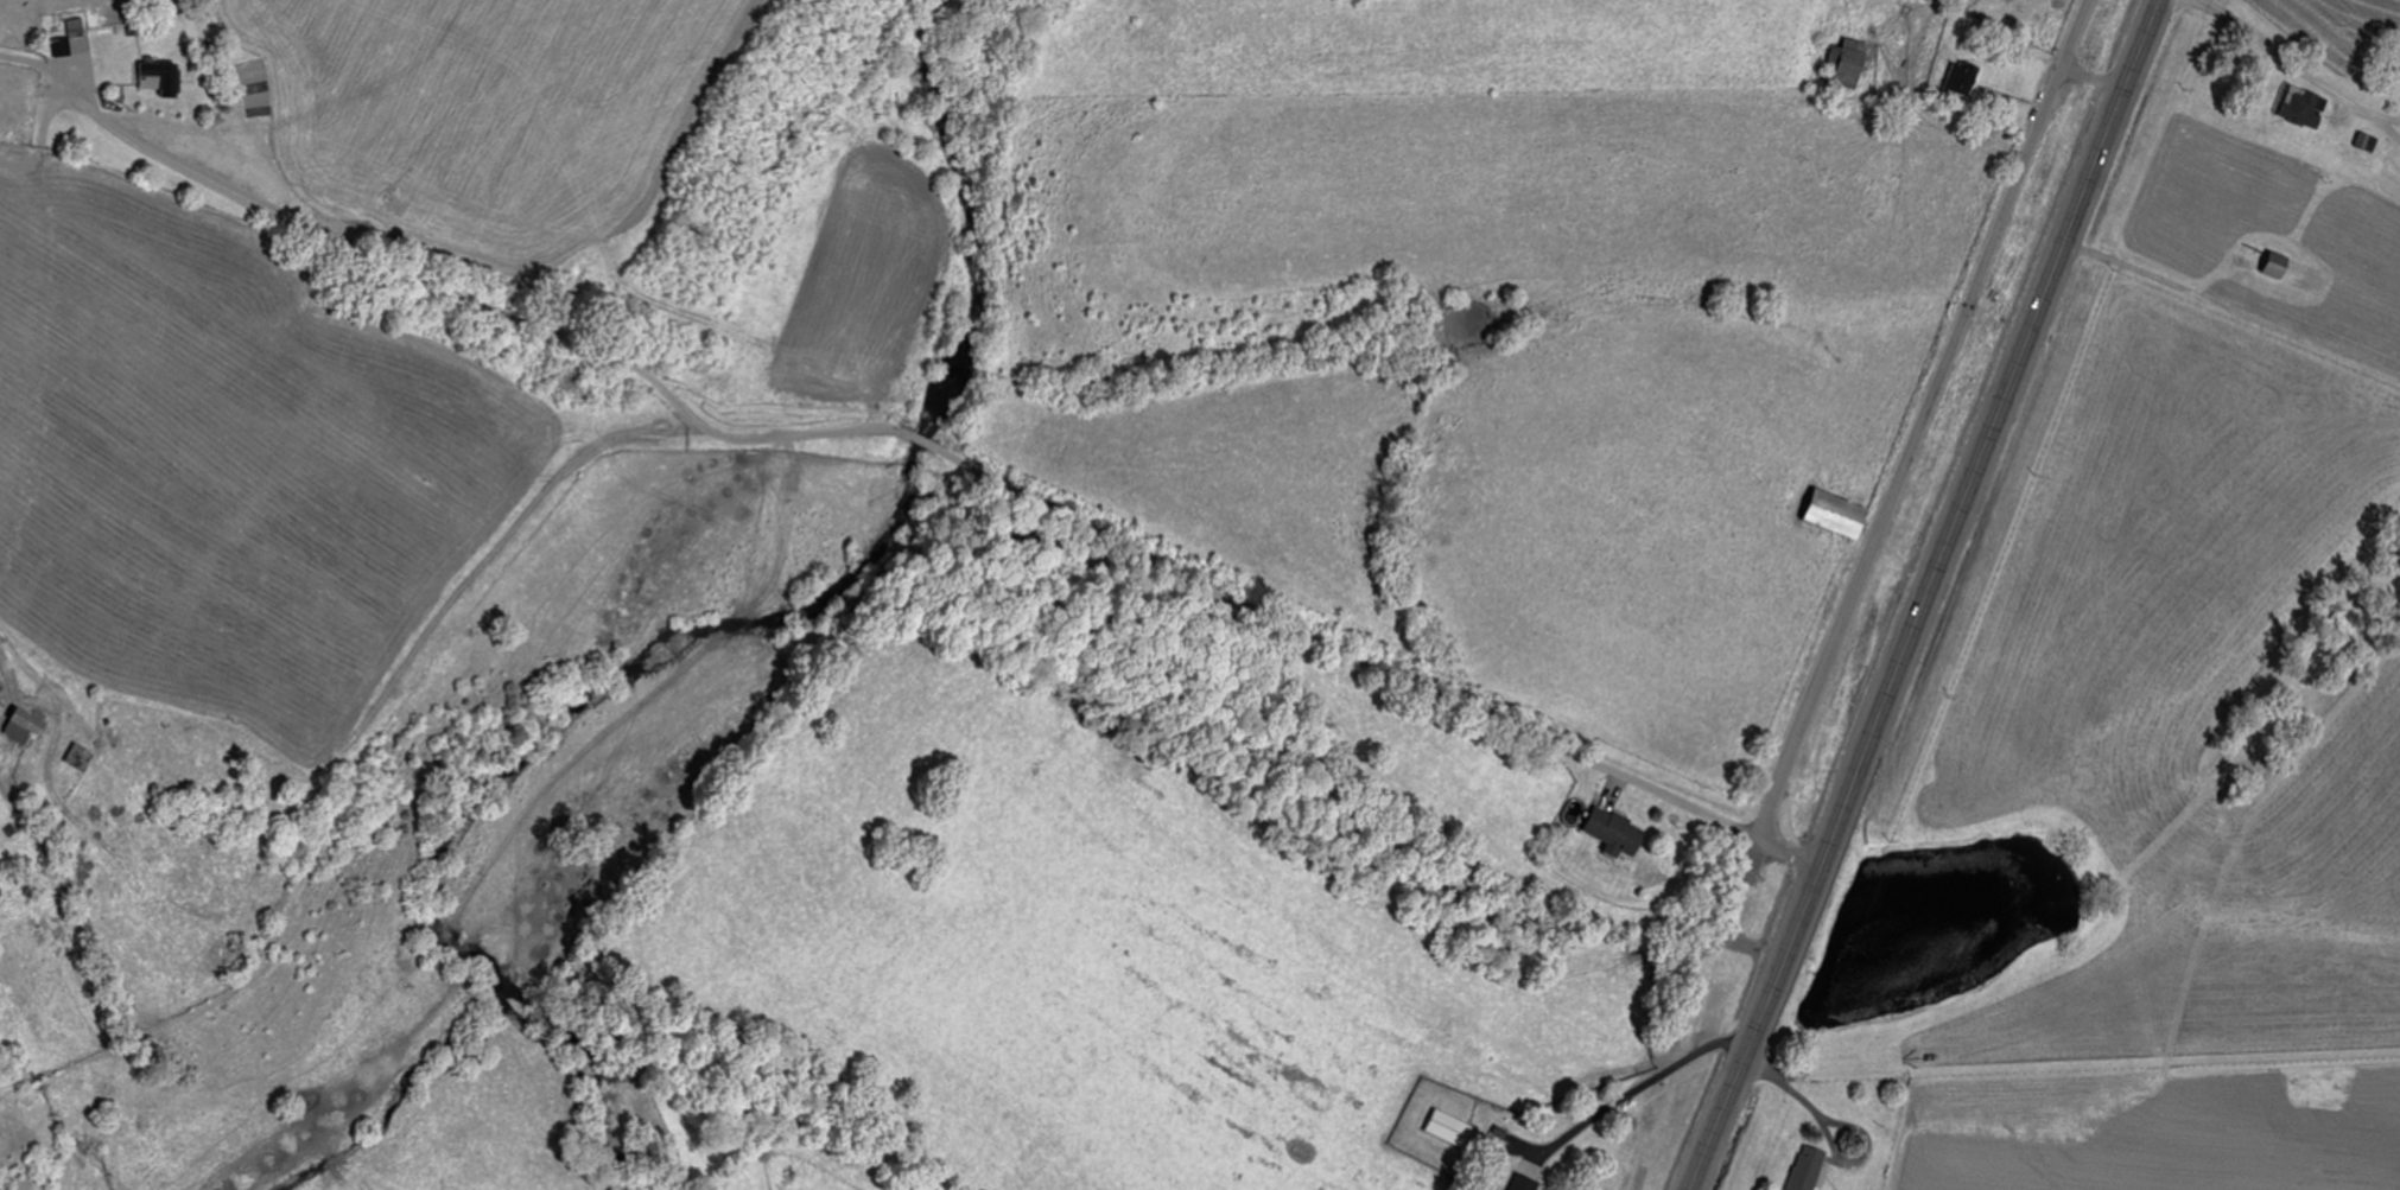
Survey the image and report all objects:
building: (63, 46)
building: (1849, 63)
road: (2096, 75)
building: (161, 76)
building: (1966, 78)
building: (2306, 108)
building: (2280, 265)
road: (2222, 349)
road: (1924, 418)
road: (967, 465)
building: (1840, 514)
road: (469, 562)
road: (1926, 594)
building: (26, 725)
building: (81, 757)
building: (1618, 833)
road: (1789, 852)
building: (1453, 1128)
building: (1810, 1169)
building: (1526, 1183)
building: (1493, 1189)

